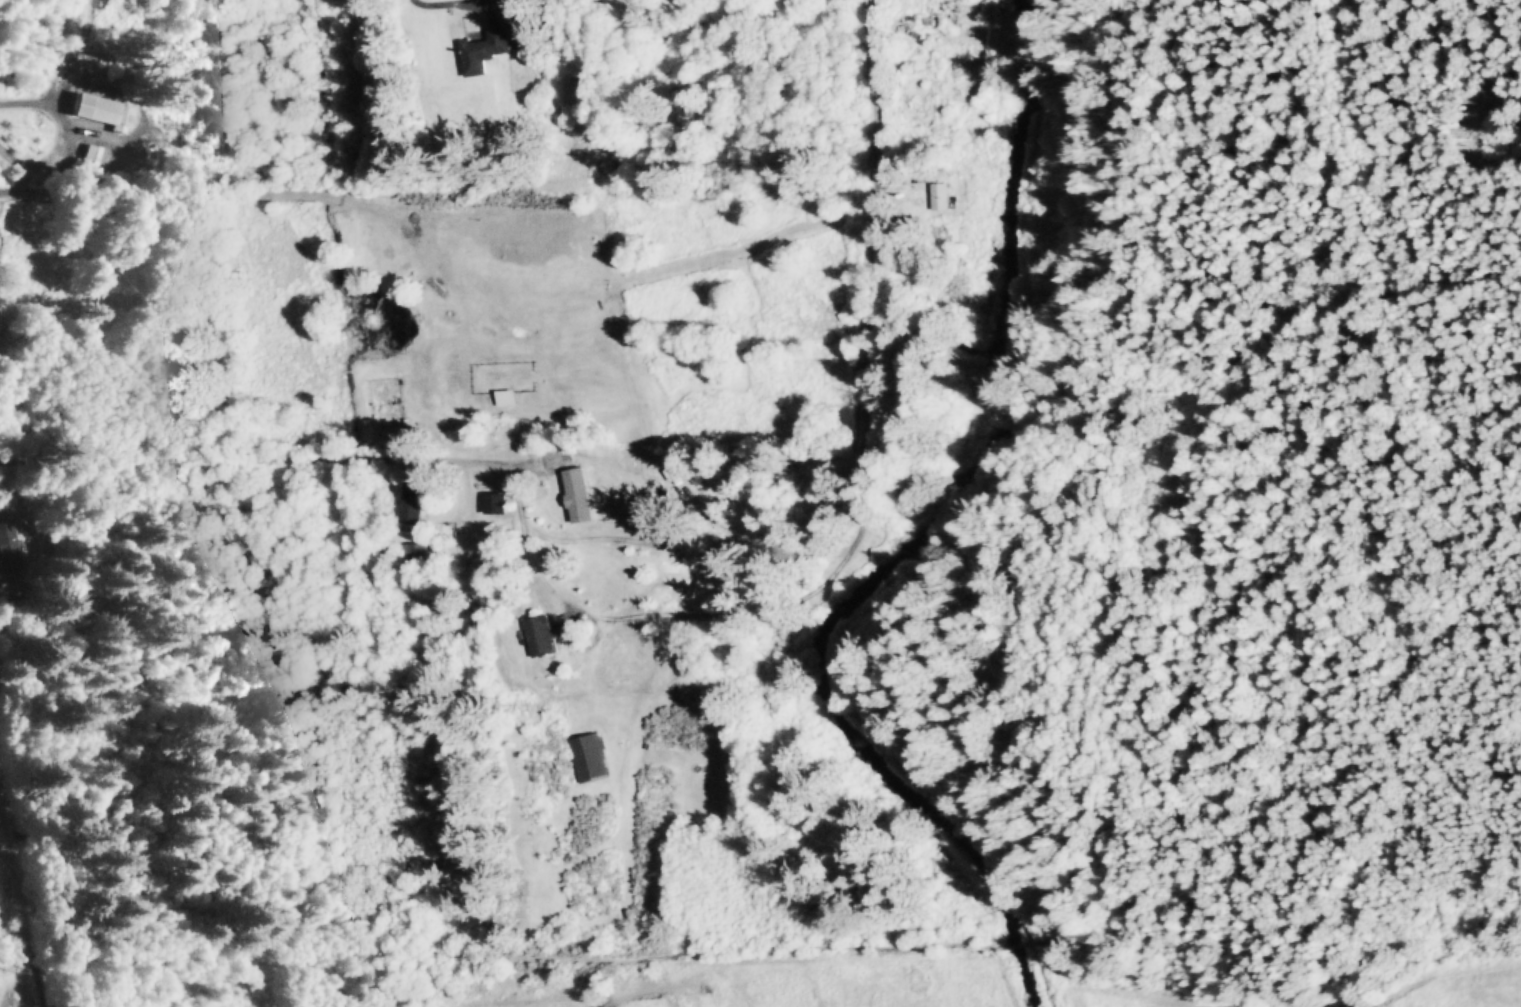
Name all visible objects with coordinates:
building: (489, 50)
building: (98, 110)
road: (23, 191)
road: (242, 195)
building: (945, 195)
road: (869, 408)
building: (827, 463)
building: (579, 495)
building: (415, 502)
building: (497, 504)
river: (921, 546)
building: (10, 549)
building: (414, 558)
park: (1237, 565)
road: (1515, 592)
road: (569, 635)
building: (539, 636)
road: (1194, 674)
building: (589, 758)
road: (21, 873)
road: (1025, 942)
railway: (16, 943)
road: (501, 951)

